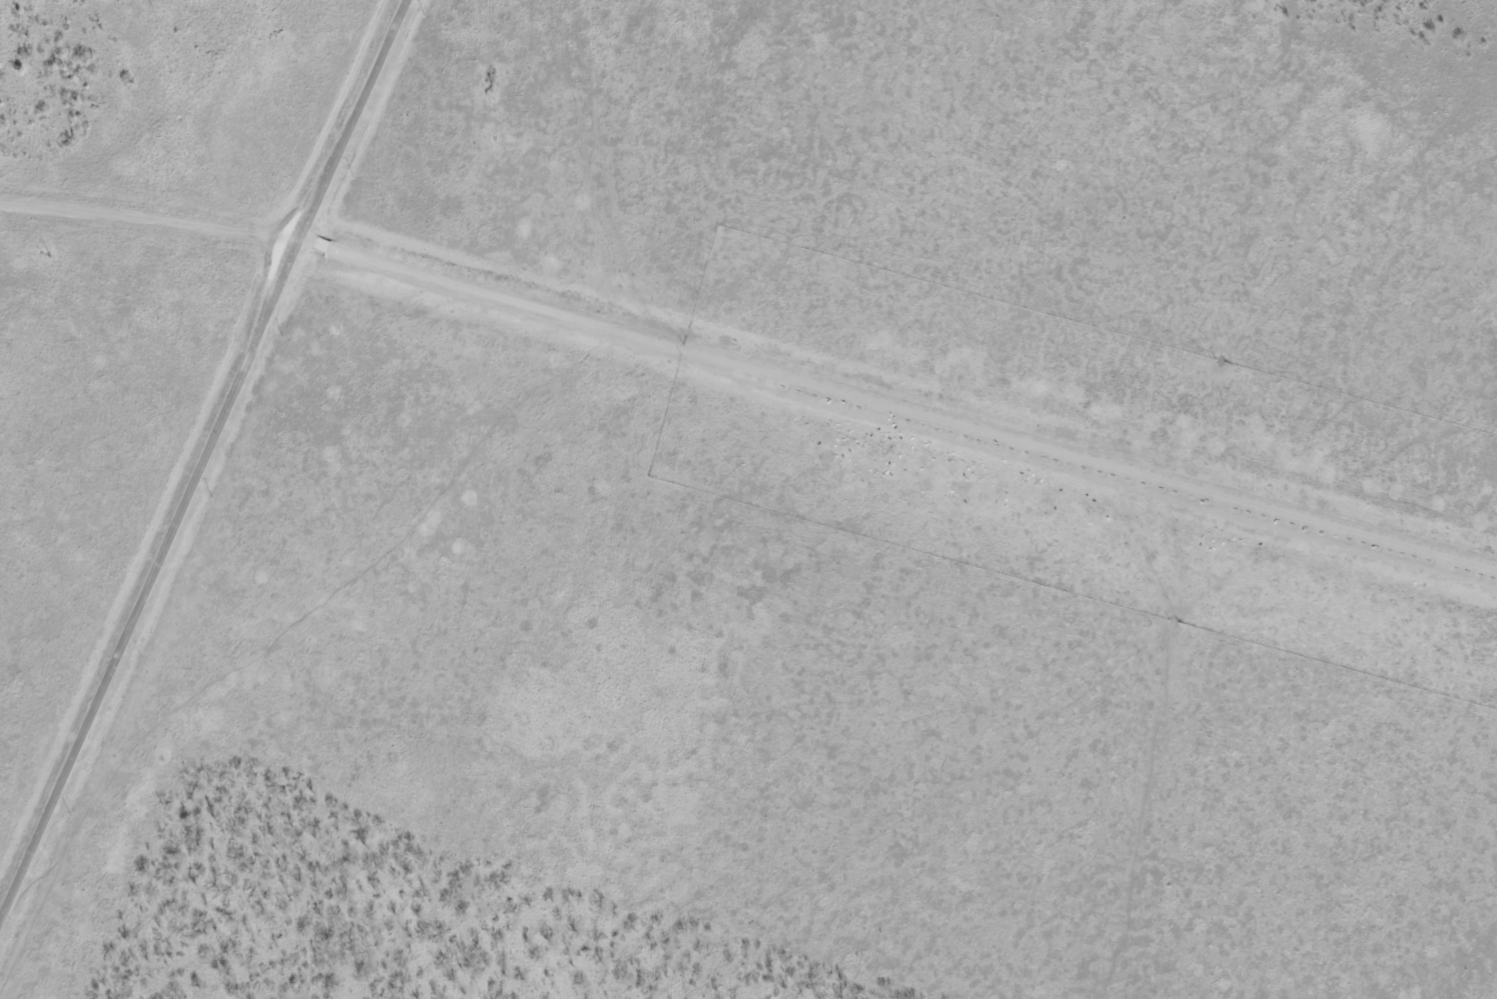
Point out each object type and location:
road: (895, 408)
road: (202, 459)

